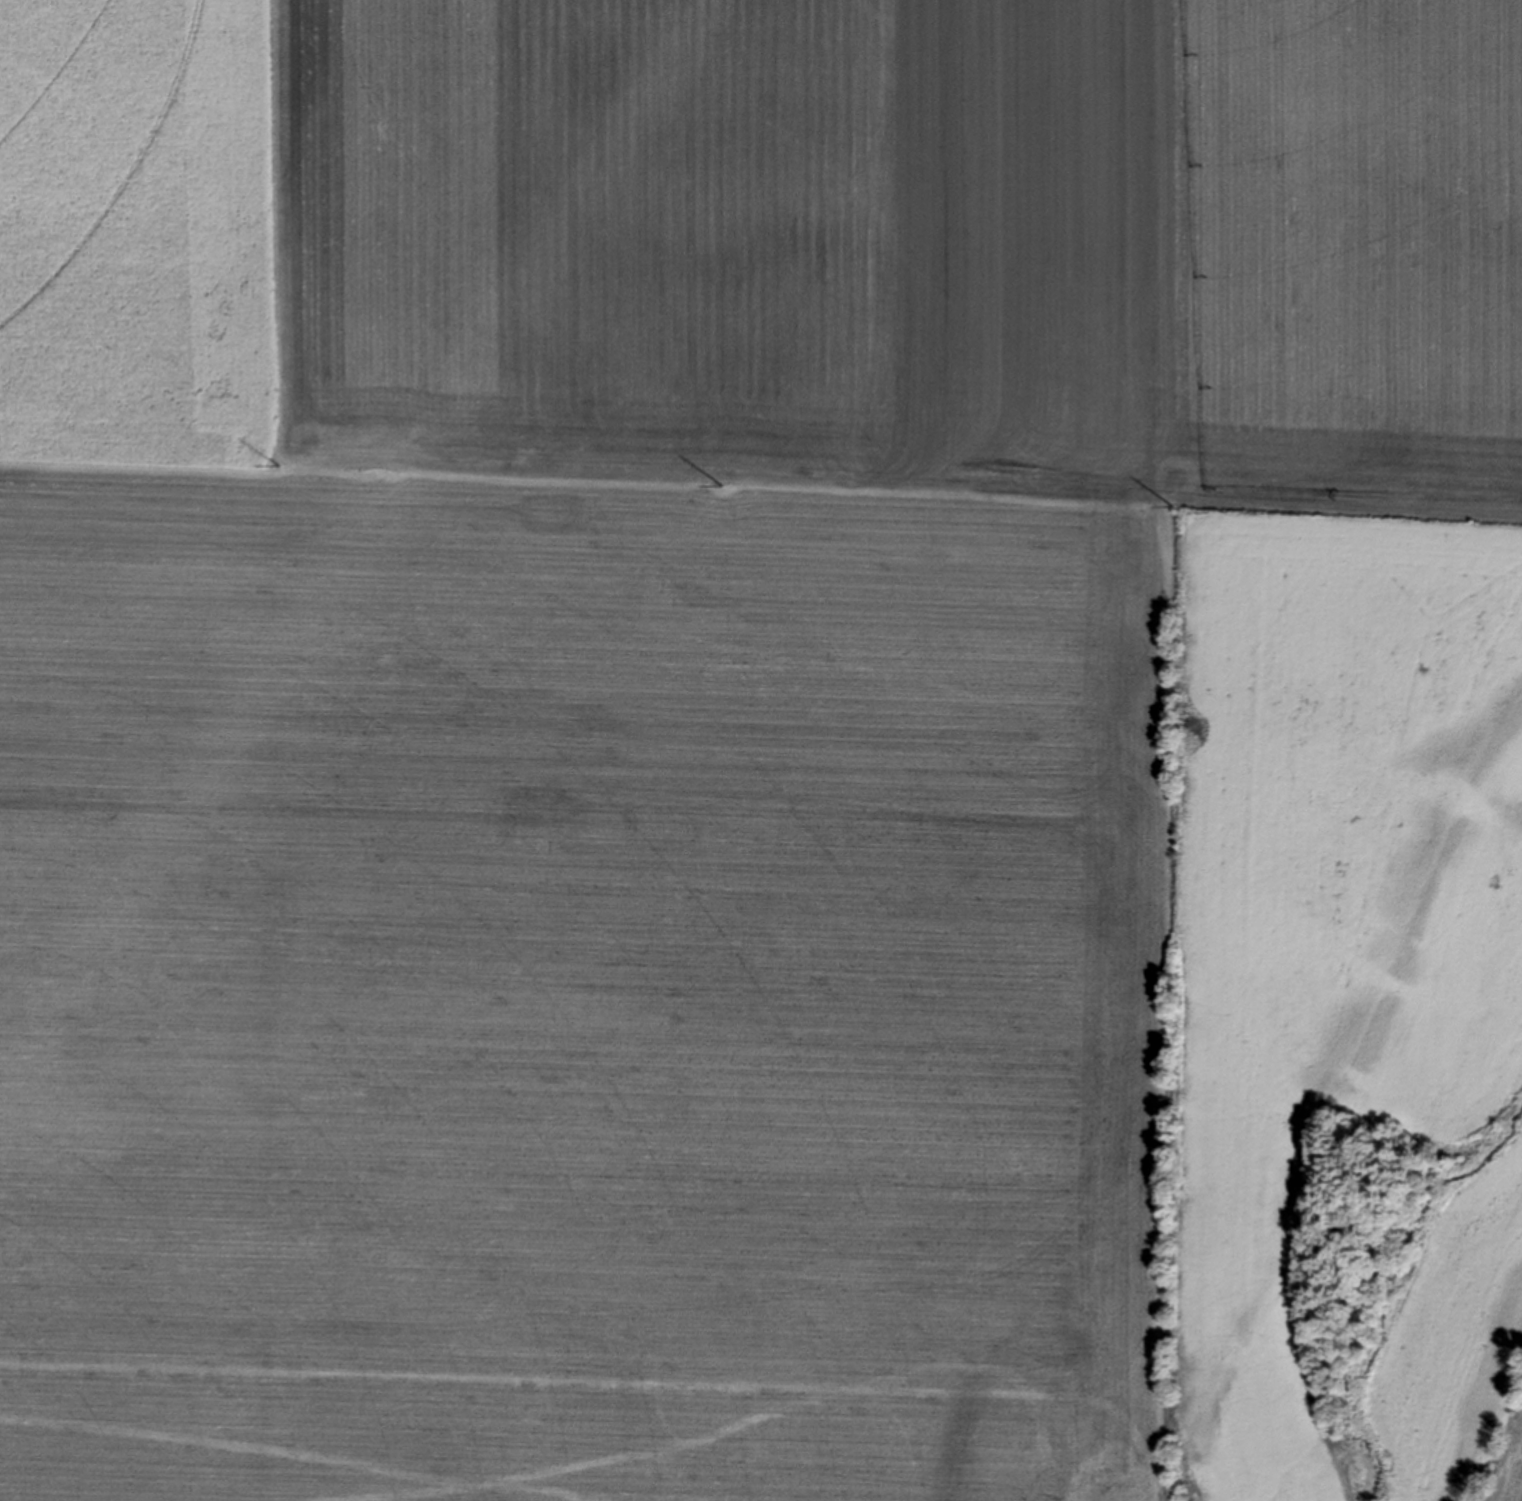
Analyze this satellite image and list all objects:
power tower: (281, 462)
power tower: (723, 482)

